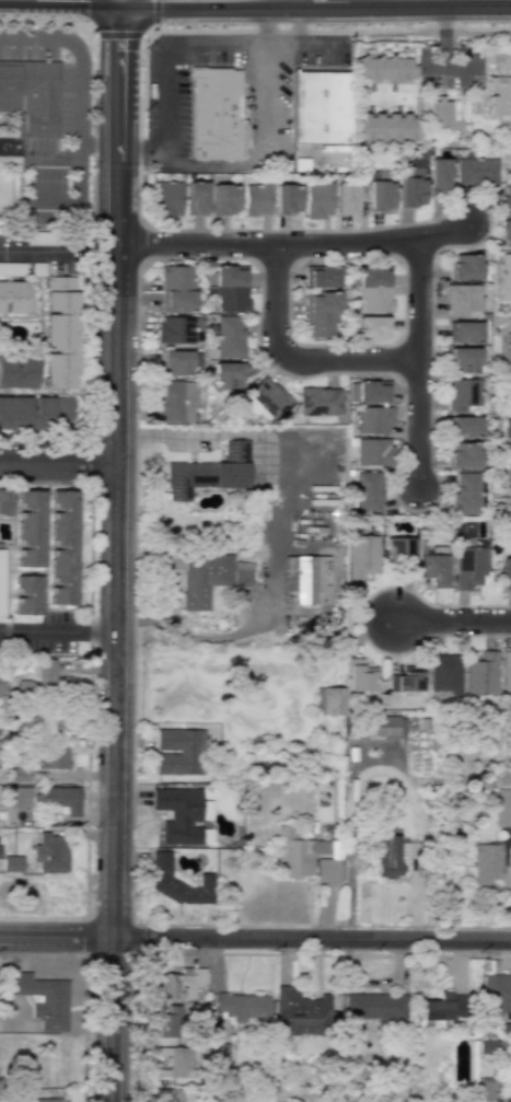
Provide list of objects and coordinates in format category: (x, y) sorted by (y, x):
road: (107, 0)
road: (118, 0)
road: (301, 0)
road: (402, 0)
traffic signals: (149, 1)
road: (315, 1)
street lamp: (218, 27)
traffic signals: (119, 33)
road: (444, 35)
road: (257, 46)
building: (383, 69)
building: (499, 82)
building: (31, 96)
building: (320, 107)
road: (79, 112)
building: (214, 114)
building: (438, 114)
building: (383, 128)
road: (71, 152)
road: (242, 162)
road: (143, 163)
building: (476, 172)
building: (438, 173)
building: (411, 181)
building: (380, 192)
building: (255, 197)
building: (196, 198)
building: (223, 198)
building: (345, 198)
building: (506, 198)
building: (166, 199)
building: (287, 199)
building: (317, 199)
building: (506, 233)
road: (293, 245)
road: (39, 252)
street lamp: (305, 262)
building: (465, 267)
building: (321, 276)
building: (372, 276)
building: (504, 276)
building: (228, 287)
building: (176, 288)
building: (15, 297)
building: (374, 298)
road: (418, 299)
building: (462, 299)
building: (318, 302)
road: (276, 306)
building: (317, 324)
building: (372, 326)
building: (178, 329)
building: (463, 332)
building: (229, 336)
building: (508, 349)
road: (357, 360)
building: (463, 360)
building: (179, 362)
street lamp: (268, 364)
building: (18, 371)
building: (227, 374)
building: (508, 385)
building: (368, 392)
building: (462, 394)
building: (265, 399)
building: (318, 401)
building: (174, 402)
building: (35, 413)
building: (374, 420)
road: (417, 424)
building: (463, 427)
road: (267, 432)
building: (507, 434)
building: (371, 452)
building: (463, 455)
road: (58, 463)
building: (208, 473)
building: (508, 475)
building: (368, 492)
building: (465, 492)
building: (4, 501)
building: (504, 514)
building: (30, 529)
building: (62, 547)
building: (397, 549)
road: (115, 550)
building: (361, 555)
building: (468, 567)
building: (433, 569)
building: (506, 573)
building: (305, 577)
building: (210, 578)
building: (26, 595)
road: (453, 622)
road: (57, 631)
road: (224, 637)
building: (506, 673)
building: (46, 674)
building: (481, 674)
building: (359, 675)
building: (444, 676)
building: (406, 683)
building: (328, 700)
building: (375, 727)
building: (178, 752)
building: (53, 756)
road: (380, 765)
building: (19, 774)
building: (18, 796)
building: (61, 799)
building: (503, 808)
building: (182, 814)
building: (50, 851)
building: (297, 852)
building: (386, 856)
building: (11, 863)
building: (486, 863)
building: (326, 871)
building: (160, 879)
road: (255, 939)
building: (179, 984)
building: (496, 993)
building: (43, 1000)
building: (372, 1007)
building: (240, 1009)
building: (440, 1009)
building: (301, 1011)
building: (170, 1022)
building: (487, 1046)
building: (218, 1053)
building: (174, 1062)
building: (486, 1088)
building: (508, 1098)
building: (49, 1100)

